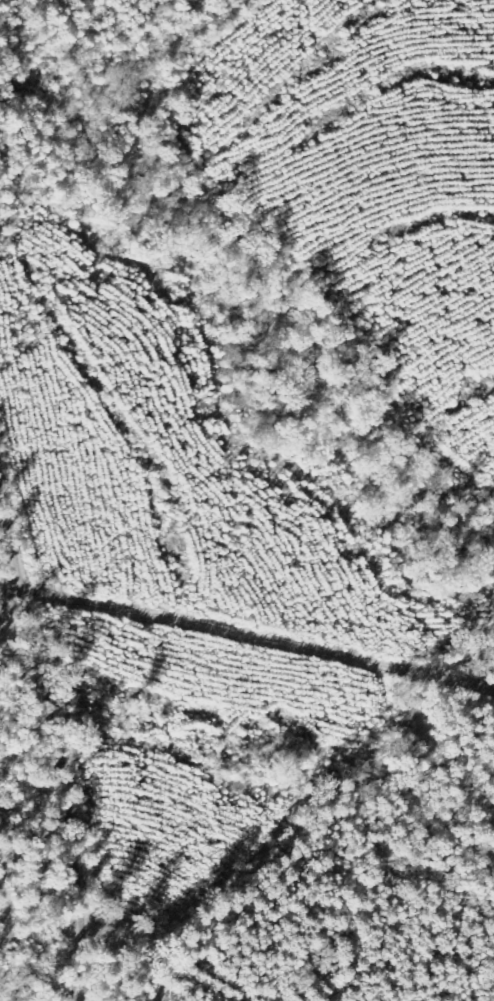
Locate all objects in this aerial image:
road: (3, 559)
road: (250, 632)
road: (76, 793)
road: (429, 811)
road: (42, 932)
road: (45, 996)

